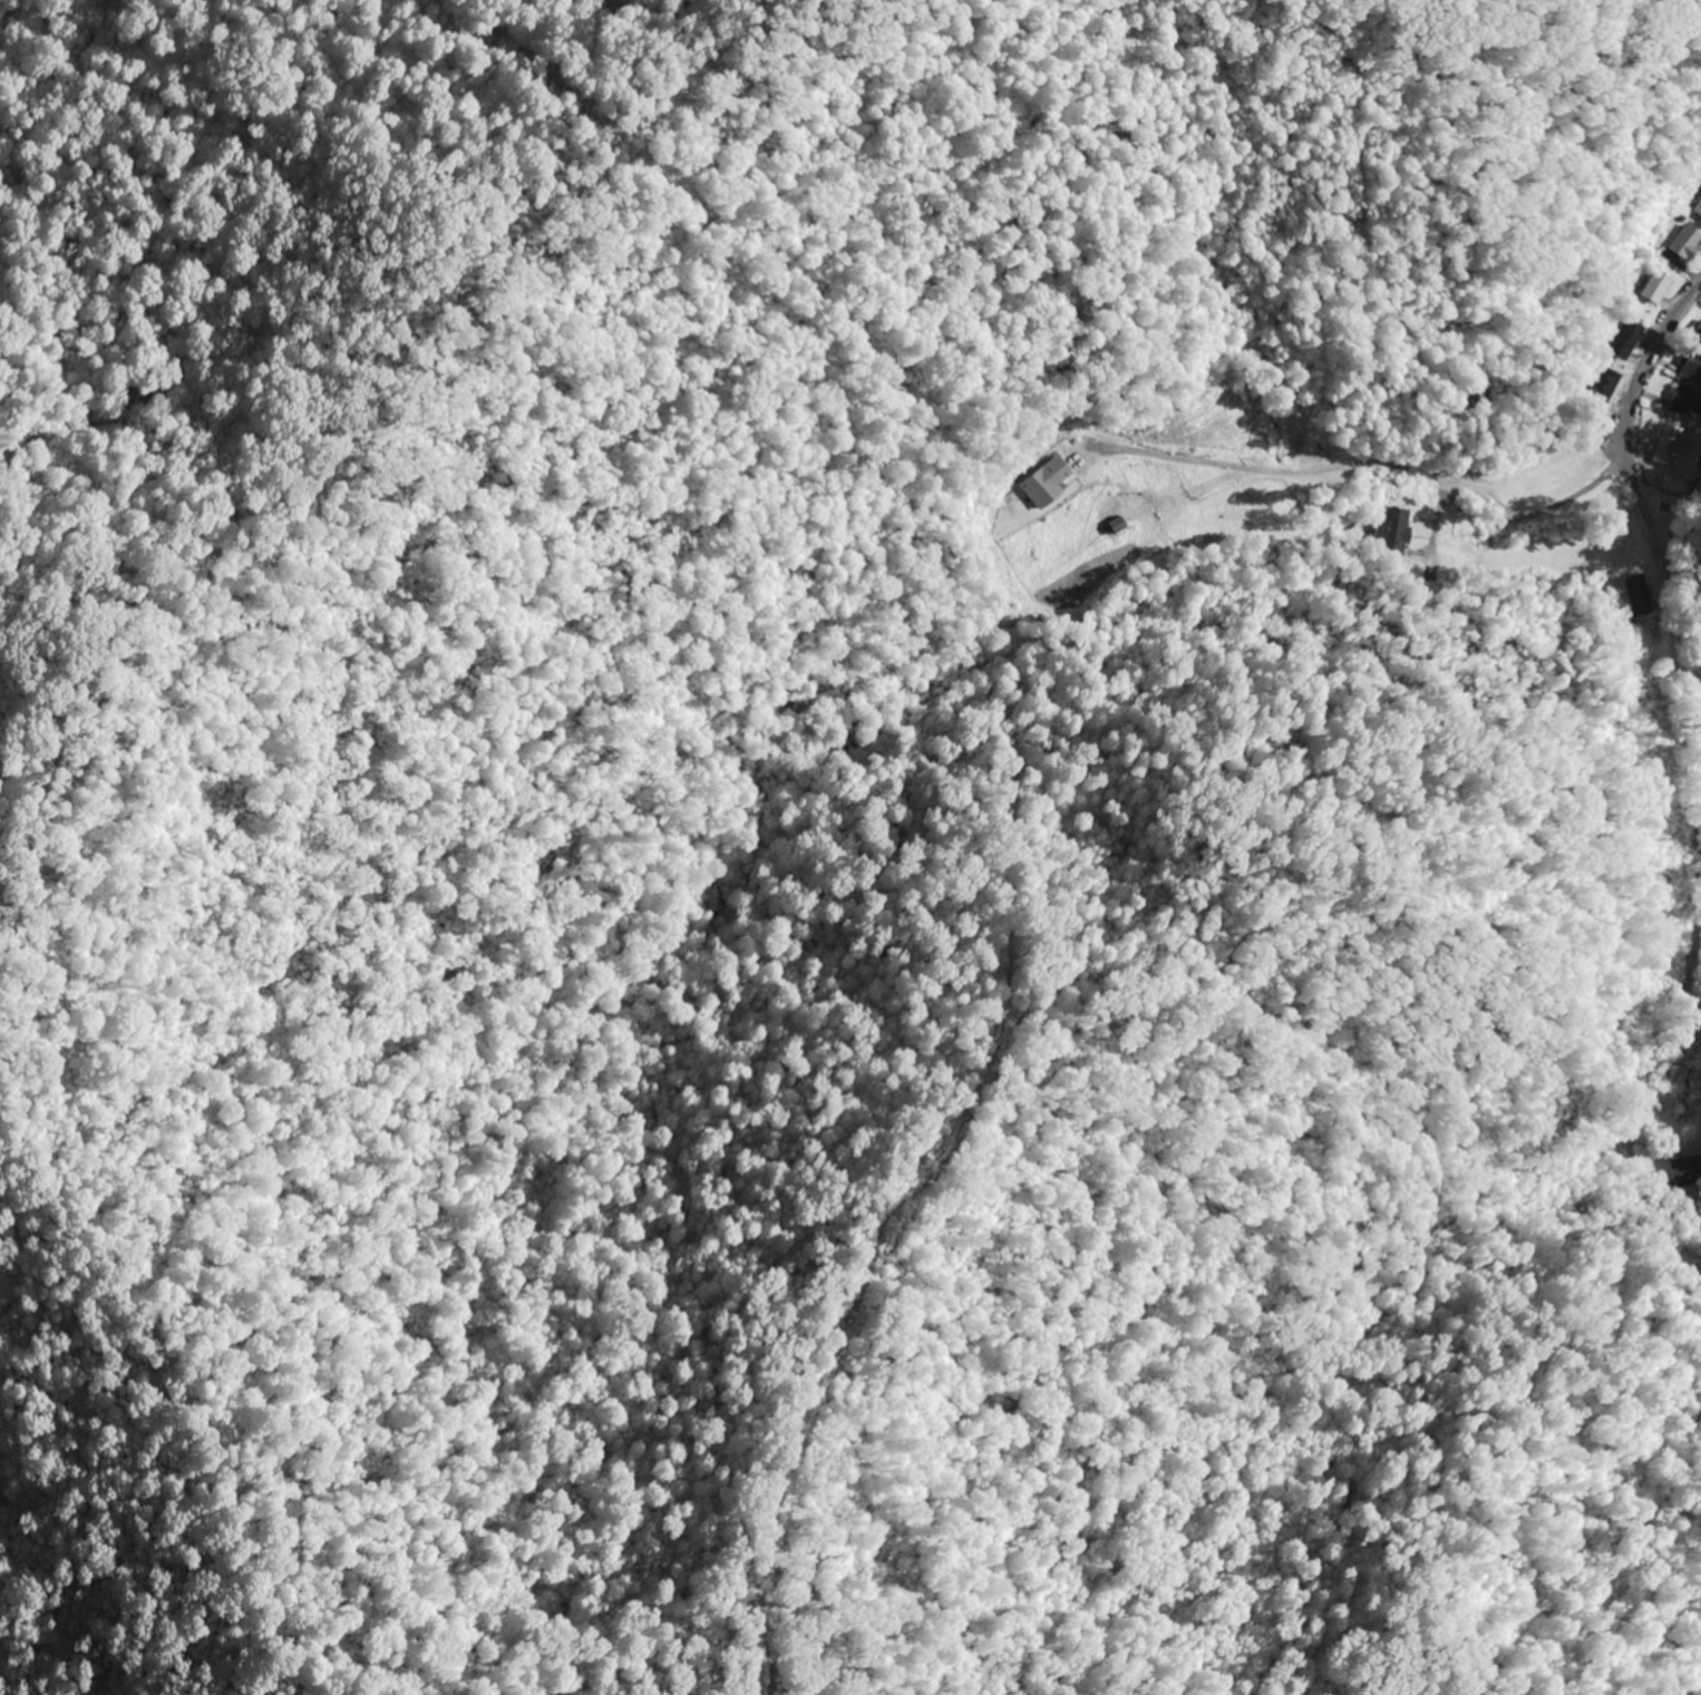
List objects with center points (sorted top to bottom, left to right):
building: (1698, 212)
building: (1693, 369)
building: (1688, 400)
building: (1668, 446)
building: (1048, 484)
road: (1672, 543)
road: (1665, 621)
road: (1575, 809)
building: (1684, 1169)

